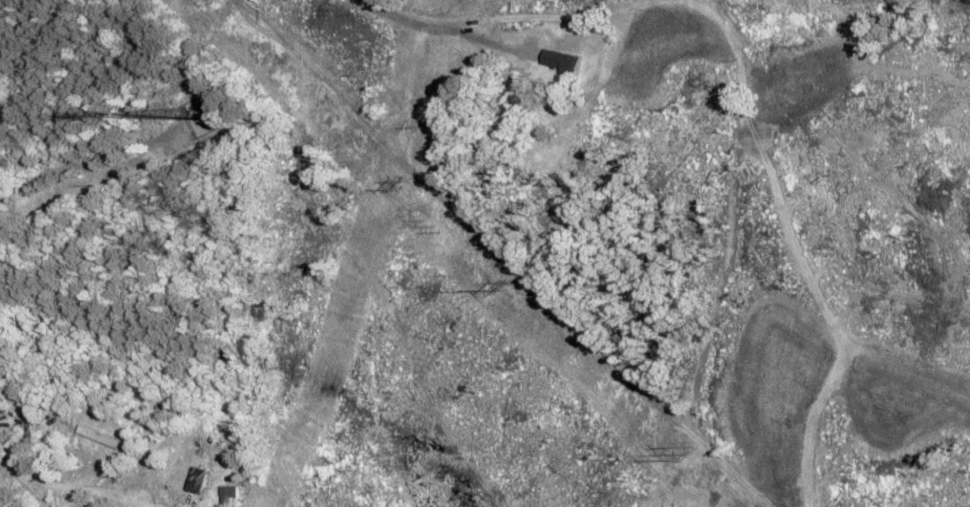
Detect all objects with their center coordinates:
road: (540, 33)
building: (561, 62)
building: (134, 488)

